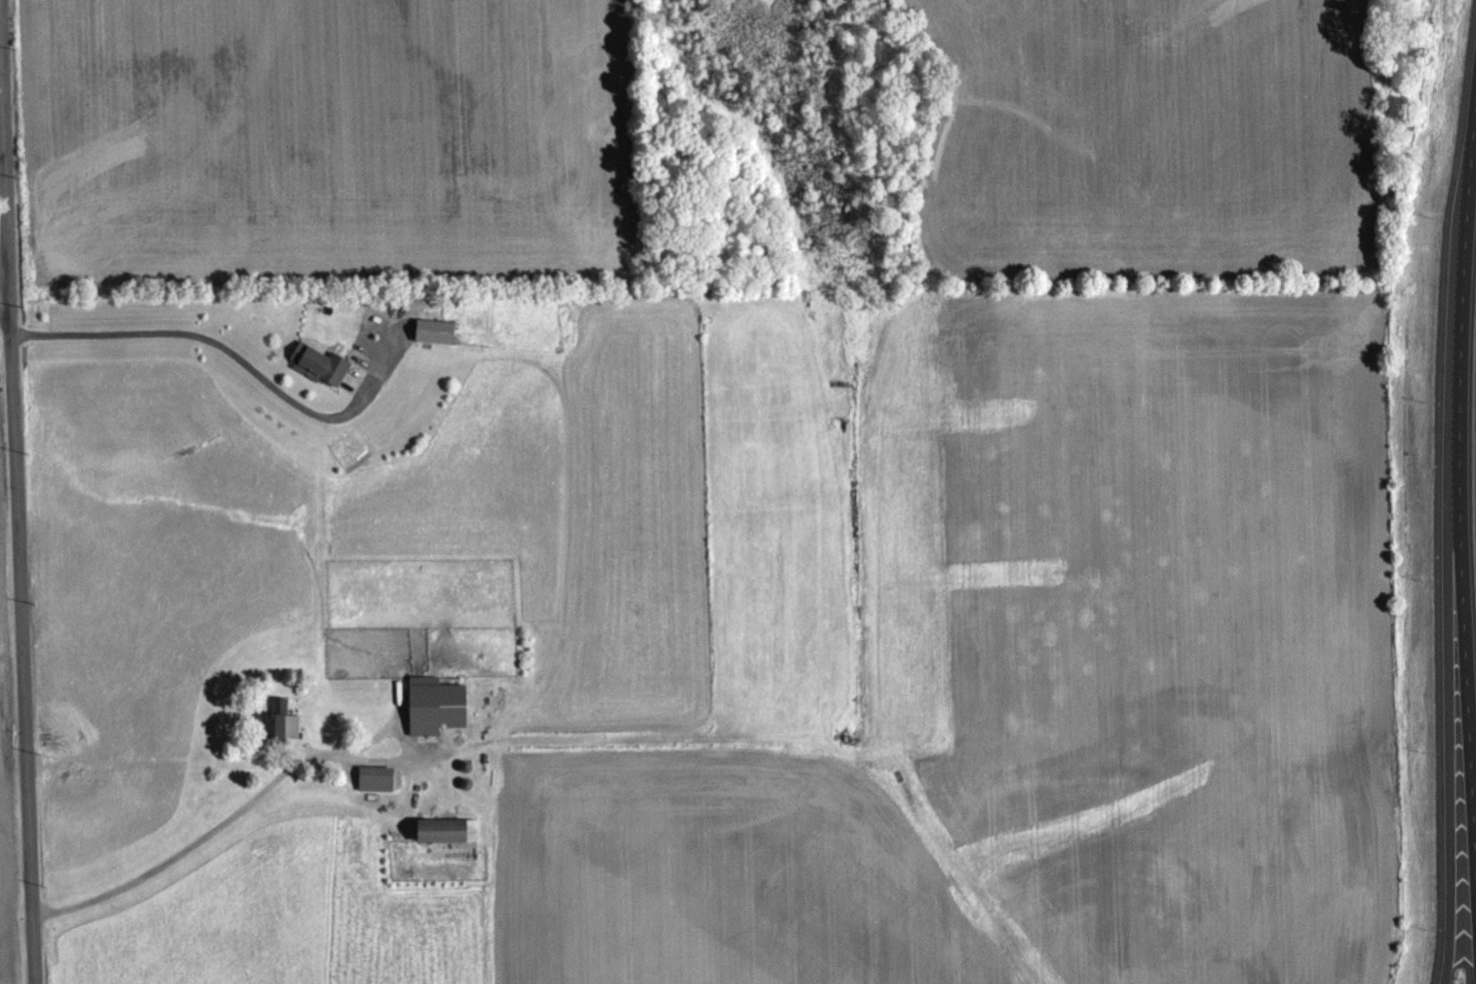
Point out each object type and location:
road: (3, 283)
building: (436, 329)
road: (222, 344)
building: (319, 363)
road: (16, 491)
road: (1458, 532)
building: (436, 705)
building: (280, 719)
road: (1446, 732)
building: (443, 828)
road: (207, 836)

